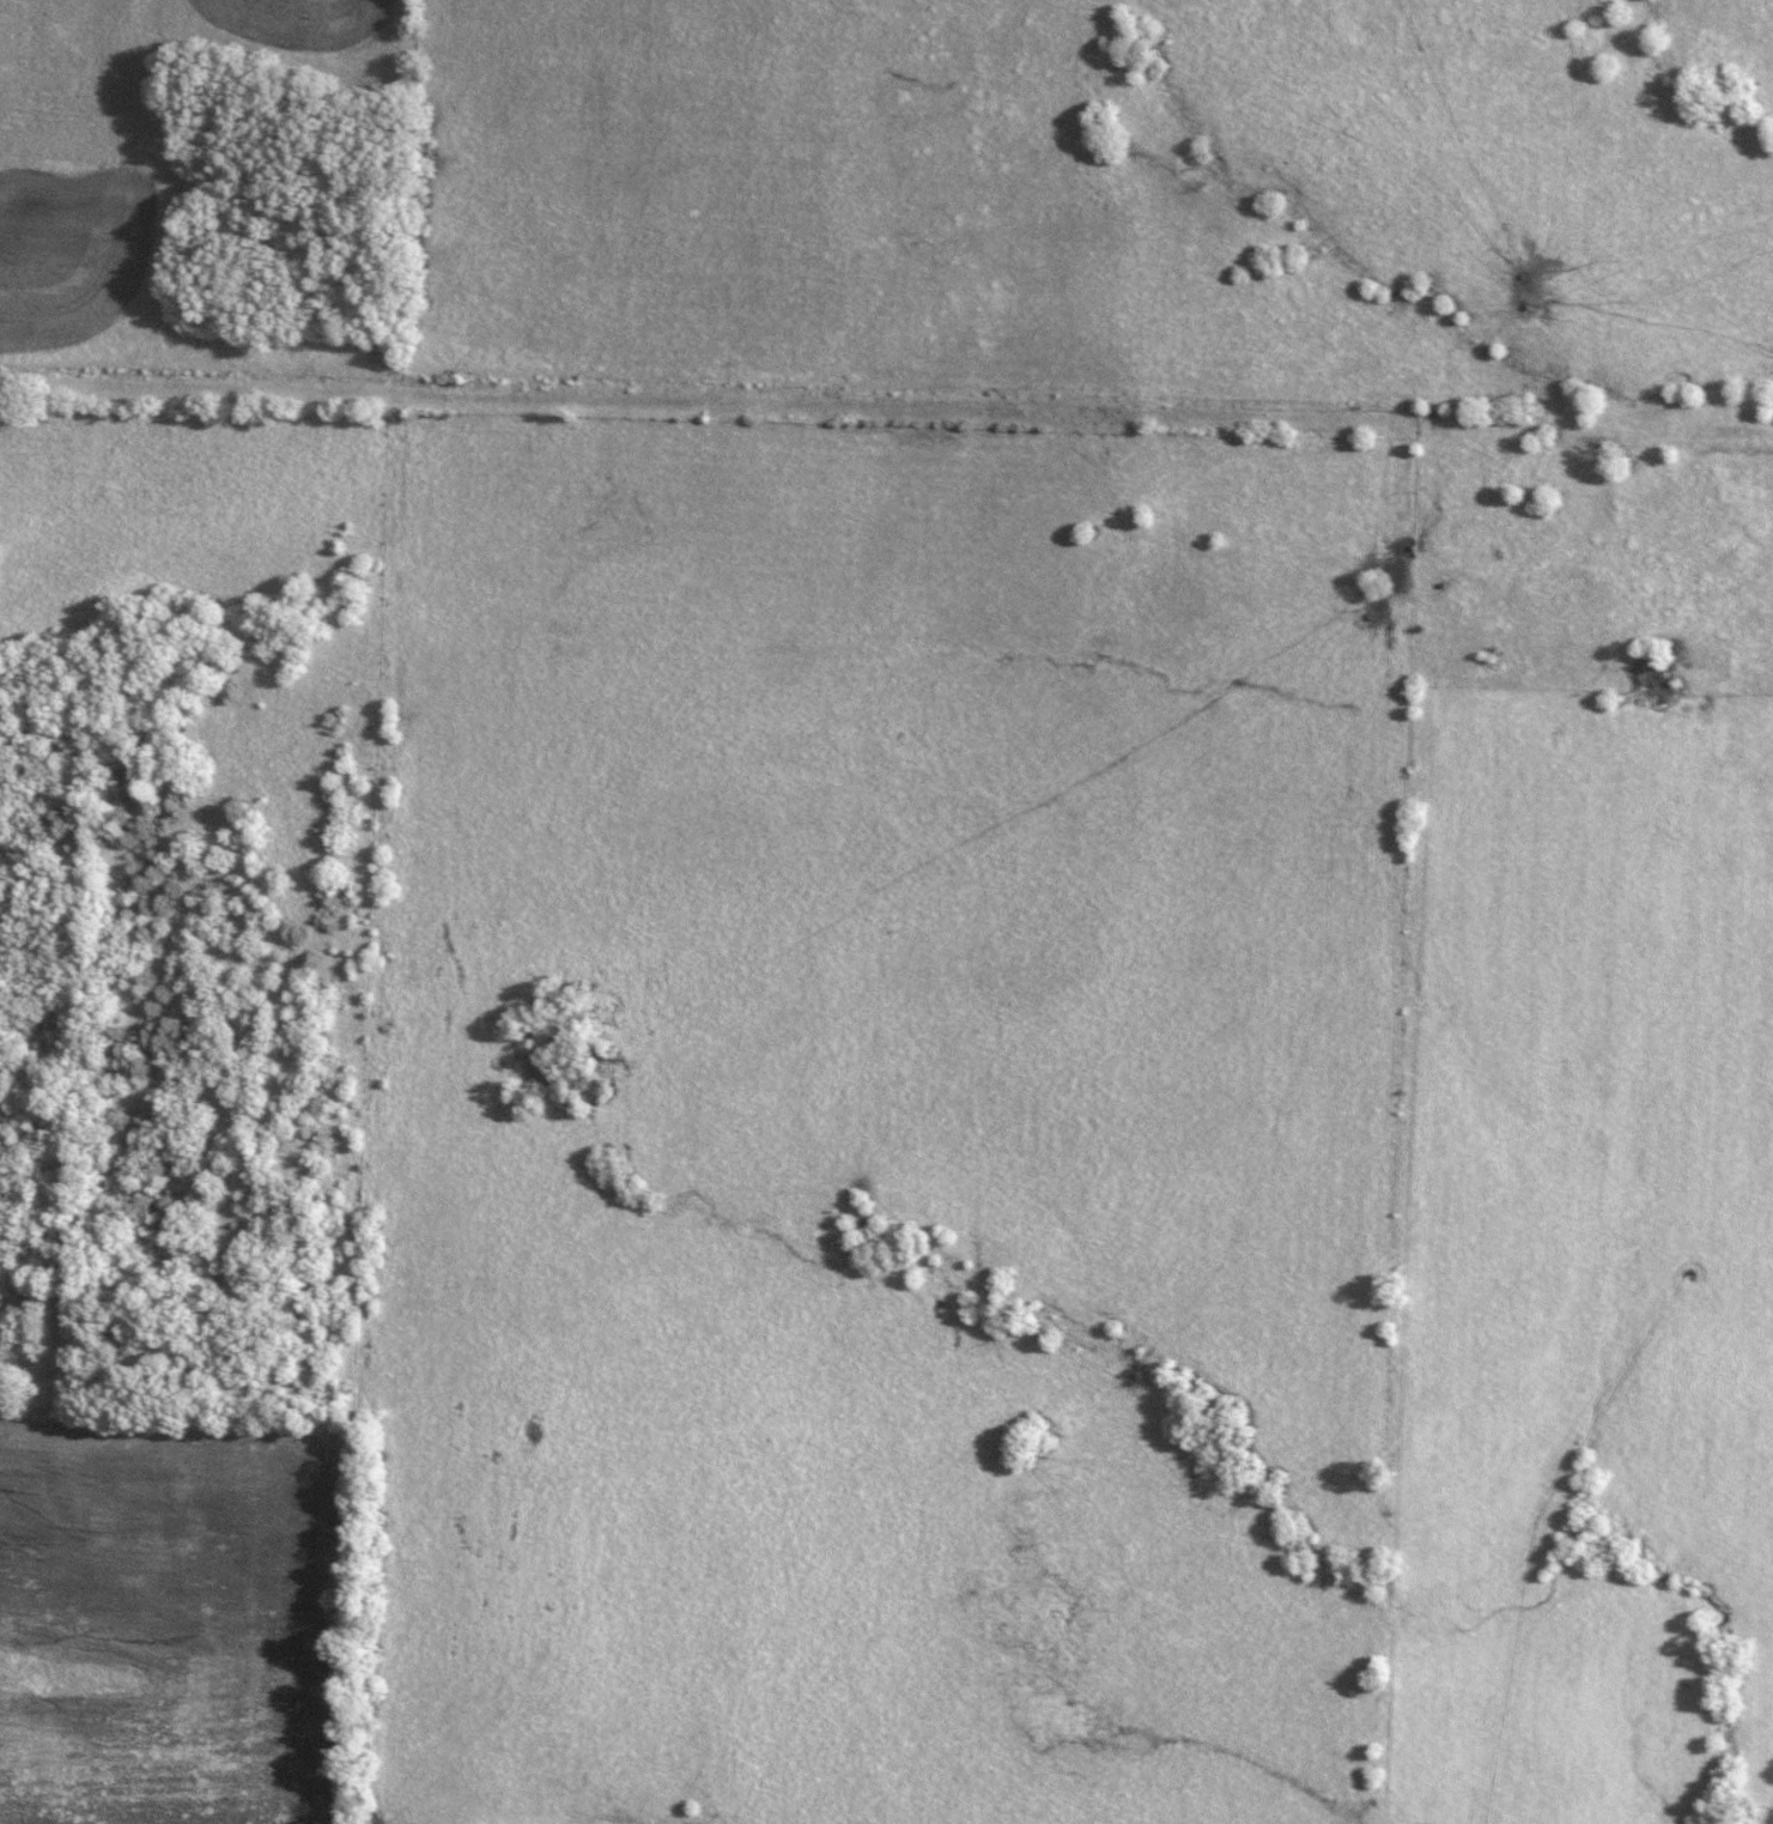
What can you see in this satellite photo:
road: (886, 404)
building: (1644, 669)

